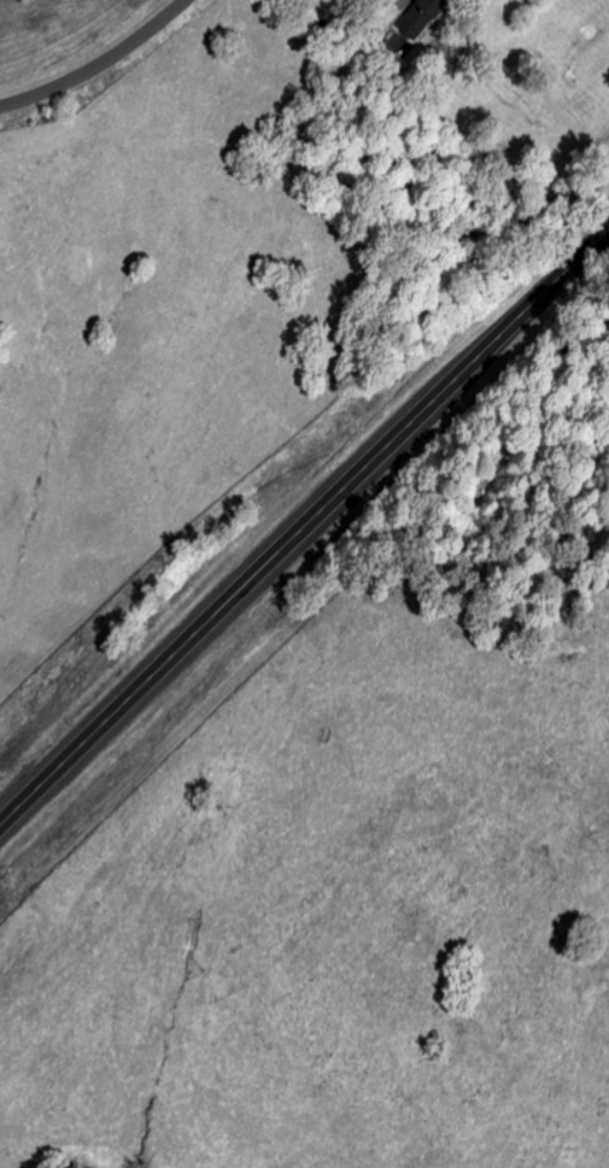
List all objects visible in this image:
building: (423, 17)
road: (100, 64)
road: (305, 530)

